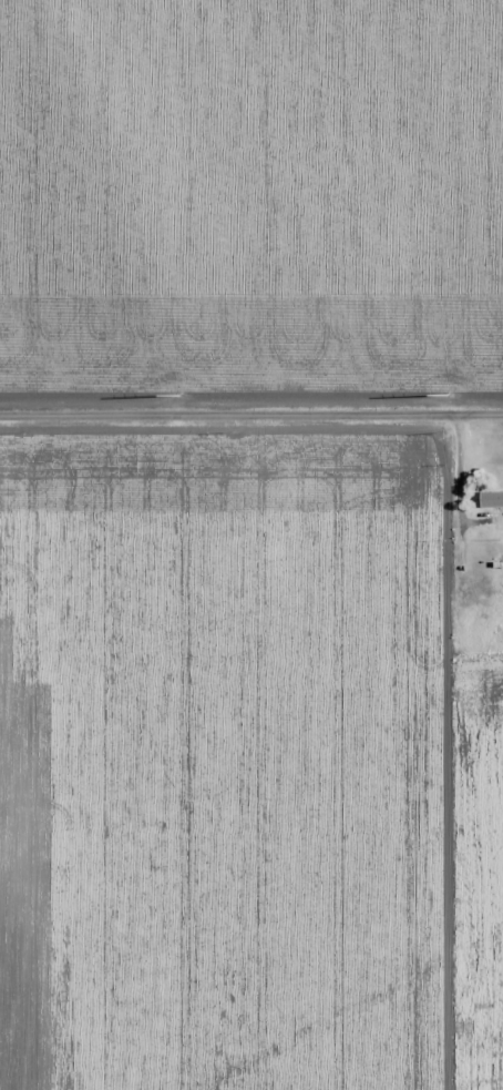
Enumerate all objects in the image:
crop: (250, 200)
power tower: (183, 396)
power tower: (449, 396)
road: (250, 417)
building: (500, 490)
building: (497, 520)
building: (496, 588)
road: (462, 753)

